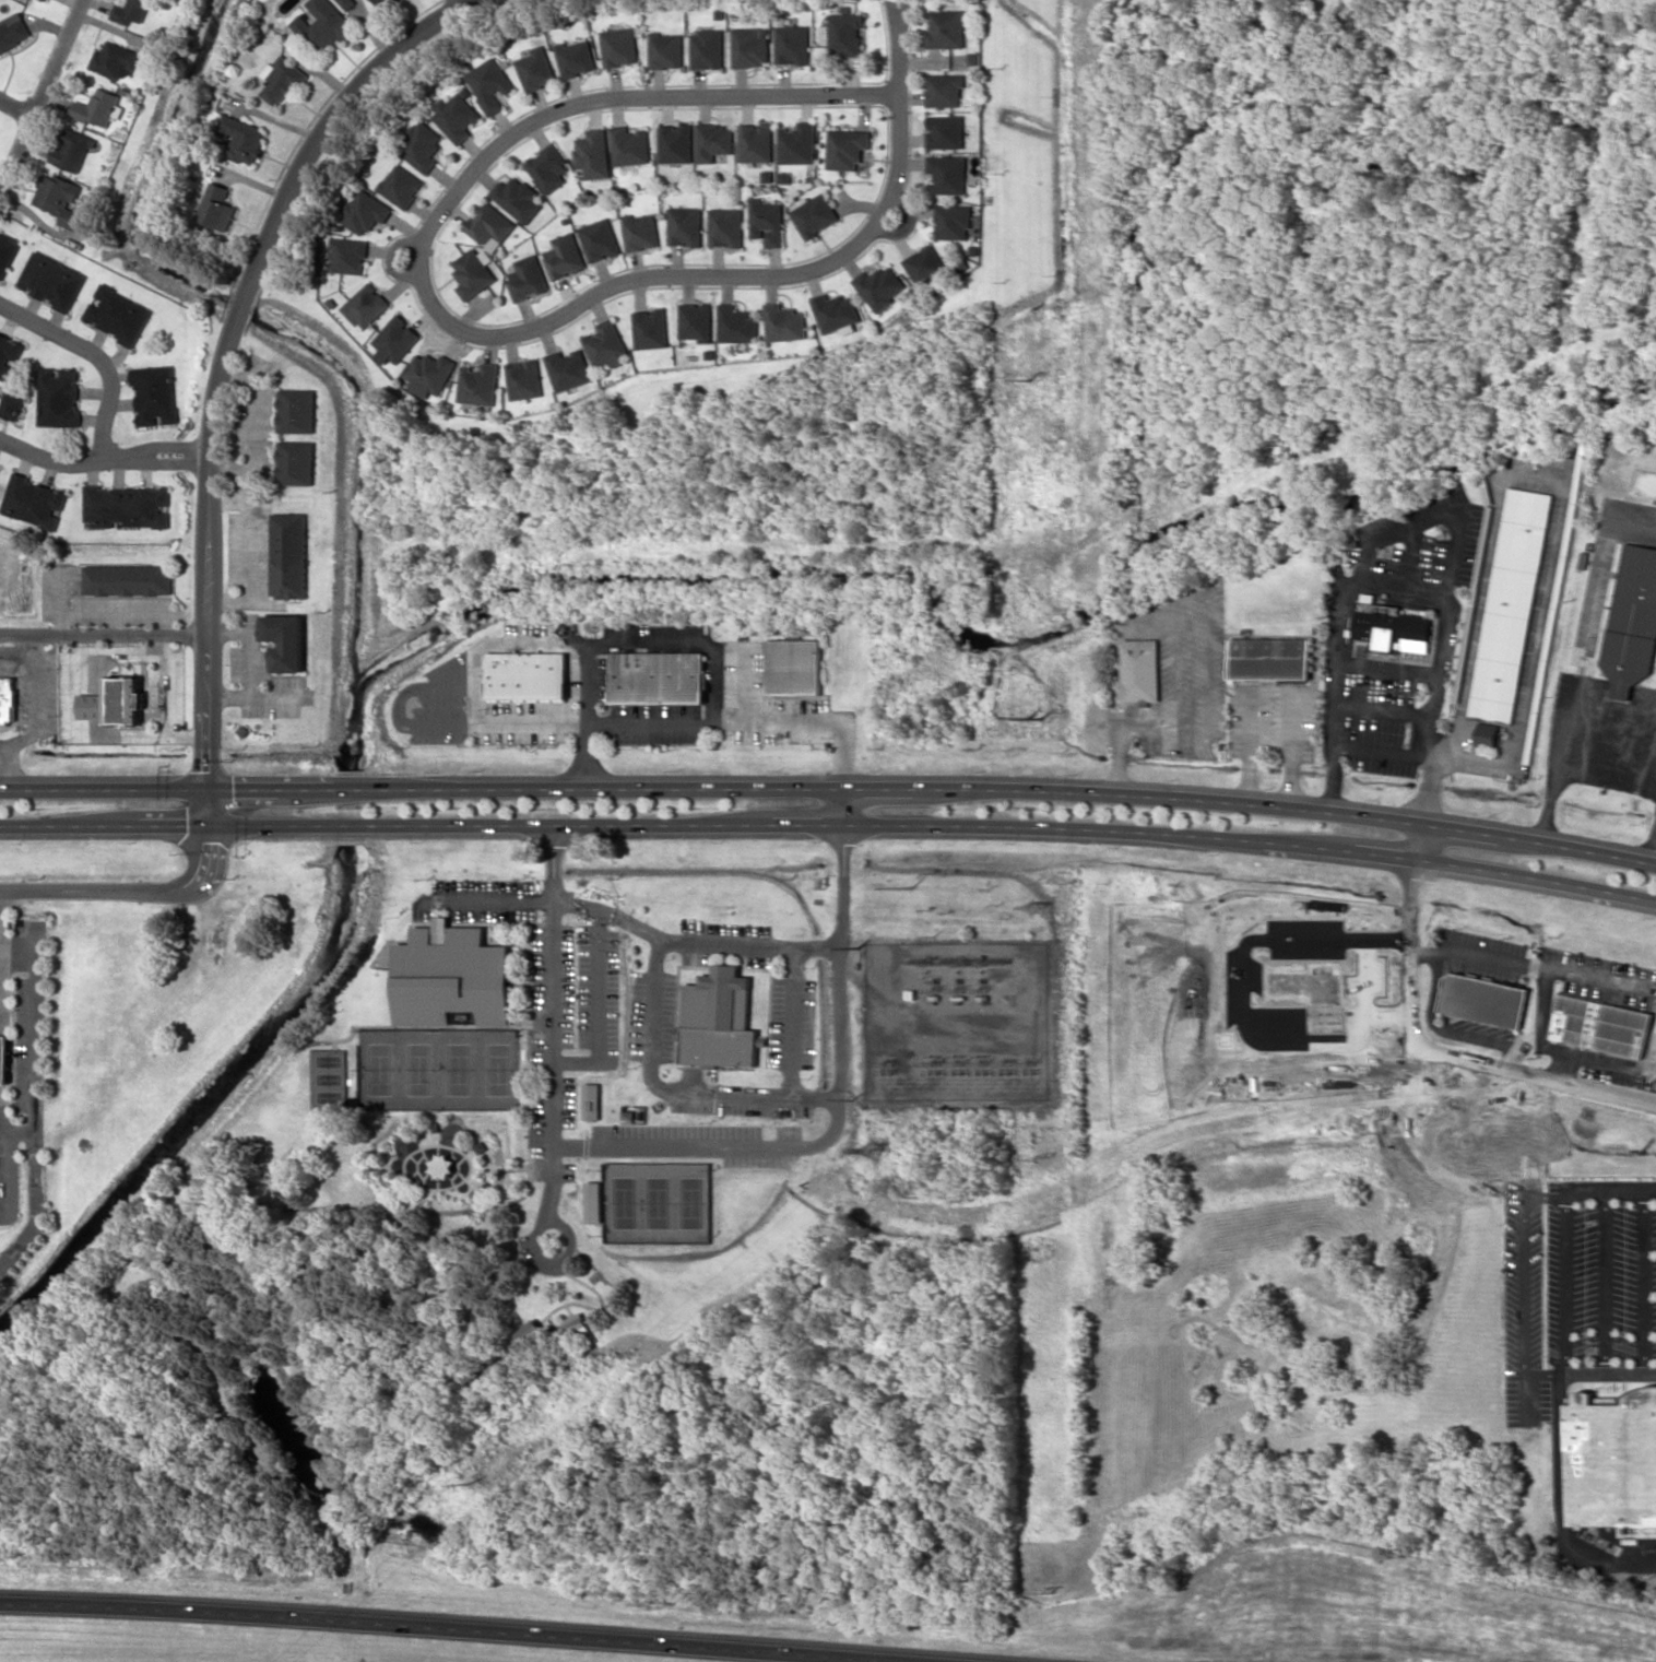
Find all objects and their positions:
road: (461, 1)
building: (378, 2)
building: (346, 3)
building: (130, 10)
building: (322, 25)
building: (946, 28)
building: (13, 31)
building: (845, 34)
building: (792, 44)
building: (620, 45)
building: (750, 46)
road: (898, 47)
building: (707, 48)
building: (666, 49)
building: (576, 57)
building: (114, 60)
building: (536, 69)
building: (281, 80)
building: (489, 84)
building: (945, 90)
road: (42, 97)
road: (17, 103)
building: (97, 107)
building: (457, 115)
building: (946, 131)
building: (243, 138)
building: (713, 141)
building: (756, 142)
building: (675, 143)
building: (797, 143)
building: (421, 145)
building: (630, 145)
building: (847, 148)
building: (72, 150)
building: (593, 153)
building: (548, 167)
building: (948, 173)
building: (401, 186)
building: (518, 198)
building: (59, 199)
building: (216, 207)
building: (365, 211)
building: (815, 214)
building: (953, 221)
building: (767, 222)
building: (489, 224)
building: (685, 225)
building: (725, 226)
building: (640, 232)
building: (599, 239)
building: (7, 251)
building: (348, 255)
building: (564, 256)
building: (925, 264)
building: (473, 272)
building: (528, 278)
building: (51, 280)
road: (418, 280)
building: (880, 286)
building: (366, 306)
building: (836, 311)
building: (117, 314)
building: (696, 321)
building: (784, 322)
building: (736, 323)
building: (650, 328)
building: (397, 338)
building: (605, 344)
road: (226, 351)
building: (9, 352)
road: (97, 356)
building: (568, 368)
building: (430, 373)
building: (524, 378)
power tower: (1029, 379)
building: (480, 384)
building: (155, 394)
building: (58, 397)
building: (11, 405)
building: (297, 410)
road: (255, 428)
road: (159, 457)
road: (54, 460)
building: (297, 462)
building: (34, 502)
building: (127, 506)
road: (250, 551)
building: (291, 553)
building: (129, 579)
road: (62, 602)
building: (1510, 603)
road: (122, 614)
building: (1630, 621)
road: (114, 623)
building: (1393, 625)
road: (104, 633)
road: (578, 638)
building: (287, 639)
river: (1009, 639)
road: (252, 643)
road: (616, 644)
building: (1271, 658)
building: (792, 665)
building: (1140, 668)
building: (522, 675)
building: (657, 676)
road: (741, 681)
road: (255, 697)
building: (9, 703)
building: (116, 706)
power tower: (1040, 717)
power tower: (1028, 720)
road: (747, 721)
building: (1488, 734)
road: (830, 788)
road: (842, 805)
river: (347, 806)
traffic signals: (211, 808)
road: (830, 823)
road: (1418, 839)
road: (151, 895)
parking lot: (477, 899)
road: (546, 899)
road: (1654, 901)
power tower: (1037, 907)
parking lot: (575, 916)
road: (532, 927)
road: (1426, 945)
road: (839, 951)
road: (0, 958)
road: (0, 962)
road: (1600, 975)
building: (453, 978)
road: (1436, 986)
building: (1485, 999)
building: (718, 1018)
power substation: (957, 1018)
road: (554, 1022)
road: (793, 1022)
road: (522, 1023)
road: (652, 1023)
building: (1602, 1025)
road: (458, 1026)
road: (1566, 1051)
road: (1444, 1052)
parking lot: (552, 1054)
building: (5, 1059)
road: (31, 1062)
park: (438, 1066)
road: (1570, 1068)
building: (591, 1100)
road: (16, 1131)
power tower: (874, 1152)
road: (375, 1154)
road: (501, 1166)
road: (531, 1168)
road: (5, 1172)
road: (11, 1178)
road: (188, 1181)
road: (447, 1187)
road: (1611, 1189)
road: (466, 1190)
park: (657, 1197)
road: (417, 1200)
building: (593, 1202)
road: (334, 1207)
road: (565, 1224)
road: (19, 1247)
road: (594, 1264)
road: (1568, 1274)
road: (1608, 1282)
road: (1648, 1282)
road: (473, 1306)
road: (605, 1309)
road: (564, 1322)
building: (576, 1325)
road: (295, 1331)
road: (259, 1333)
road: (274, 1340)
road: (209, 1352)
park: (560, 1358)
road: (1610, 1375)
building: (1613, 1461)
power tower: (480, 1481)
road: (336, 1500)
road: (1560, 1501)
road: (451, 1627)

